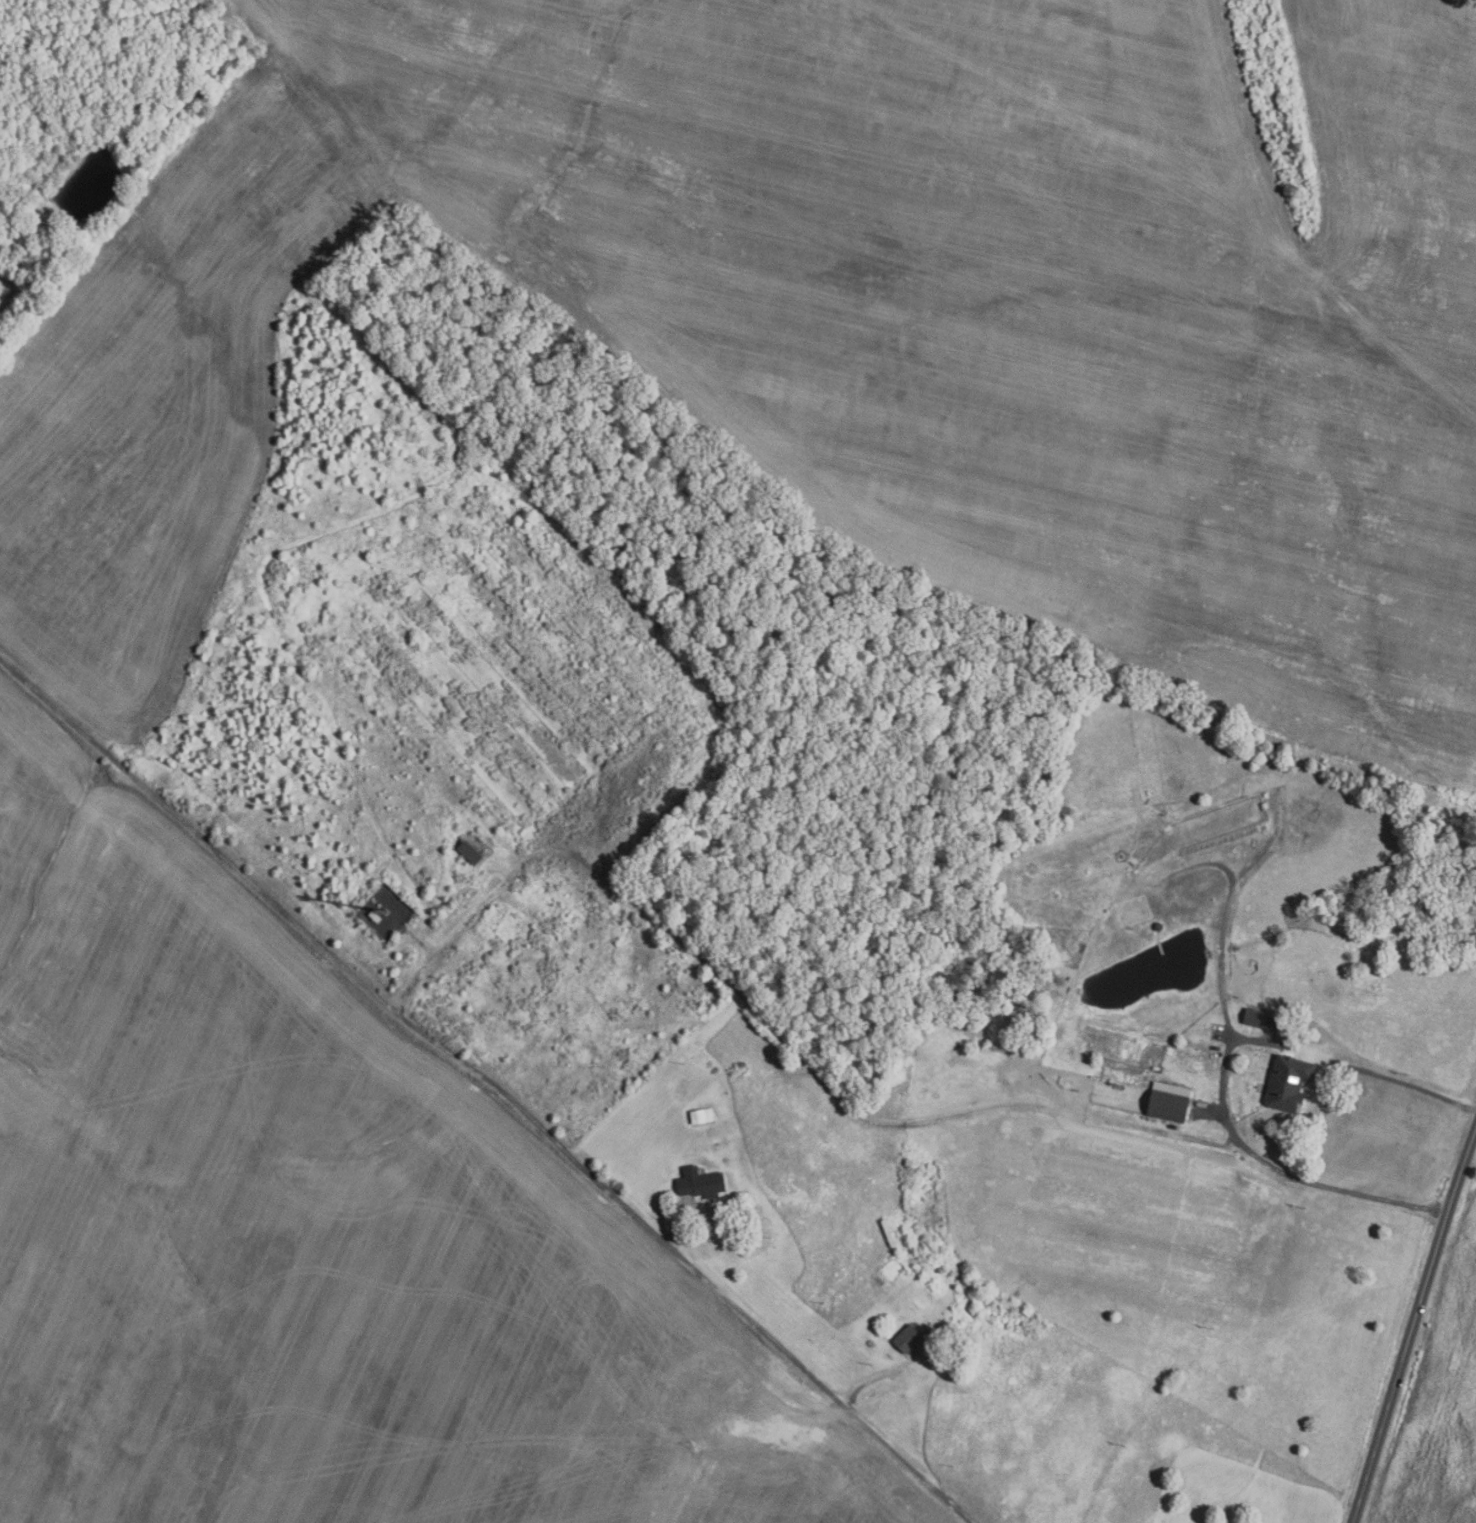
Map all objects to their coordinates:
building: (1065, 809)
building: (475, 847)
road: (1228, 902)
building: (1255, 1018)
building: (581, 1019)
road: (766, 1026)
road: (1223, 1080)
building: (1288, 1083)
road: (491, 1084)
building: (1168, 1102)
building: (701, 1115)
building: (700, 1182)
road: (675, 1225)
building: (938, 1268)
road: (1413, 1330)
building: (908, 1338)
road: (881, 1378)

